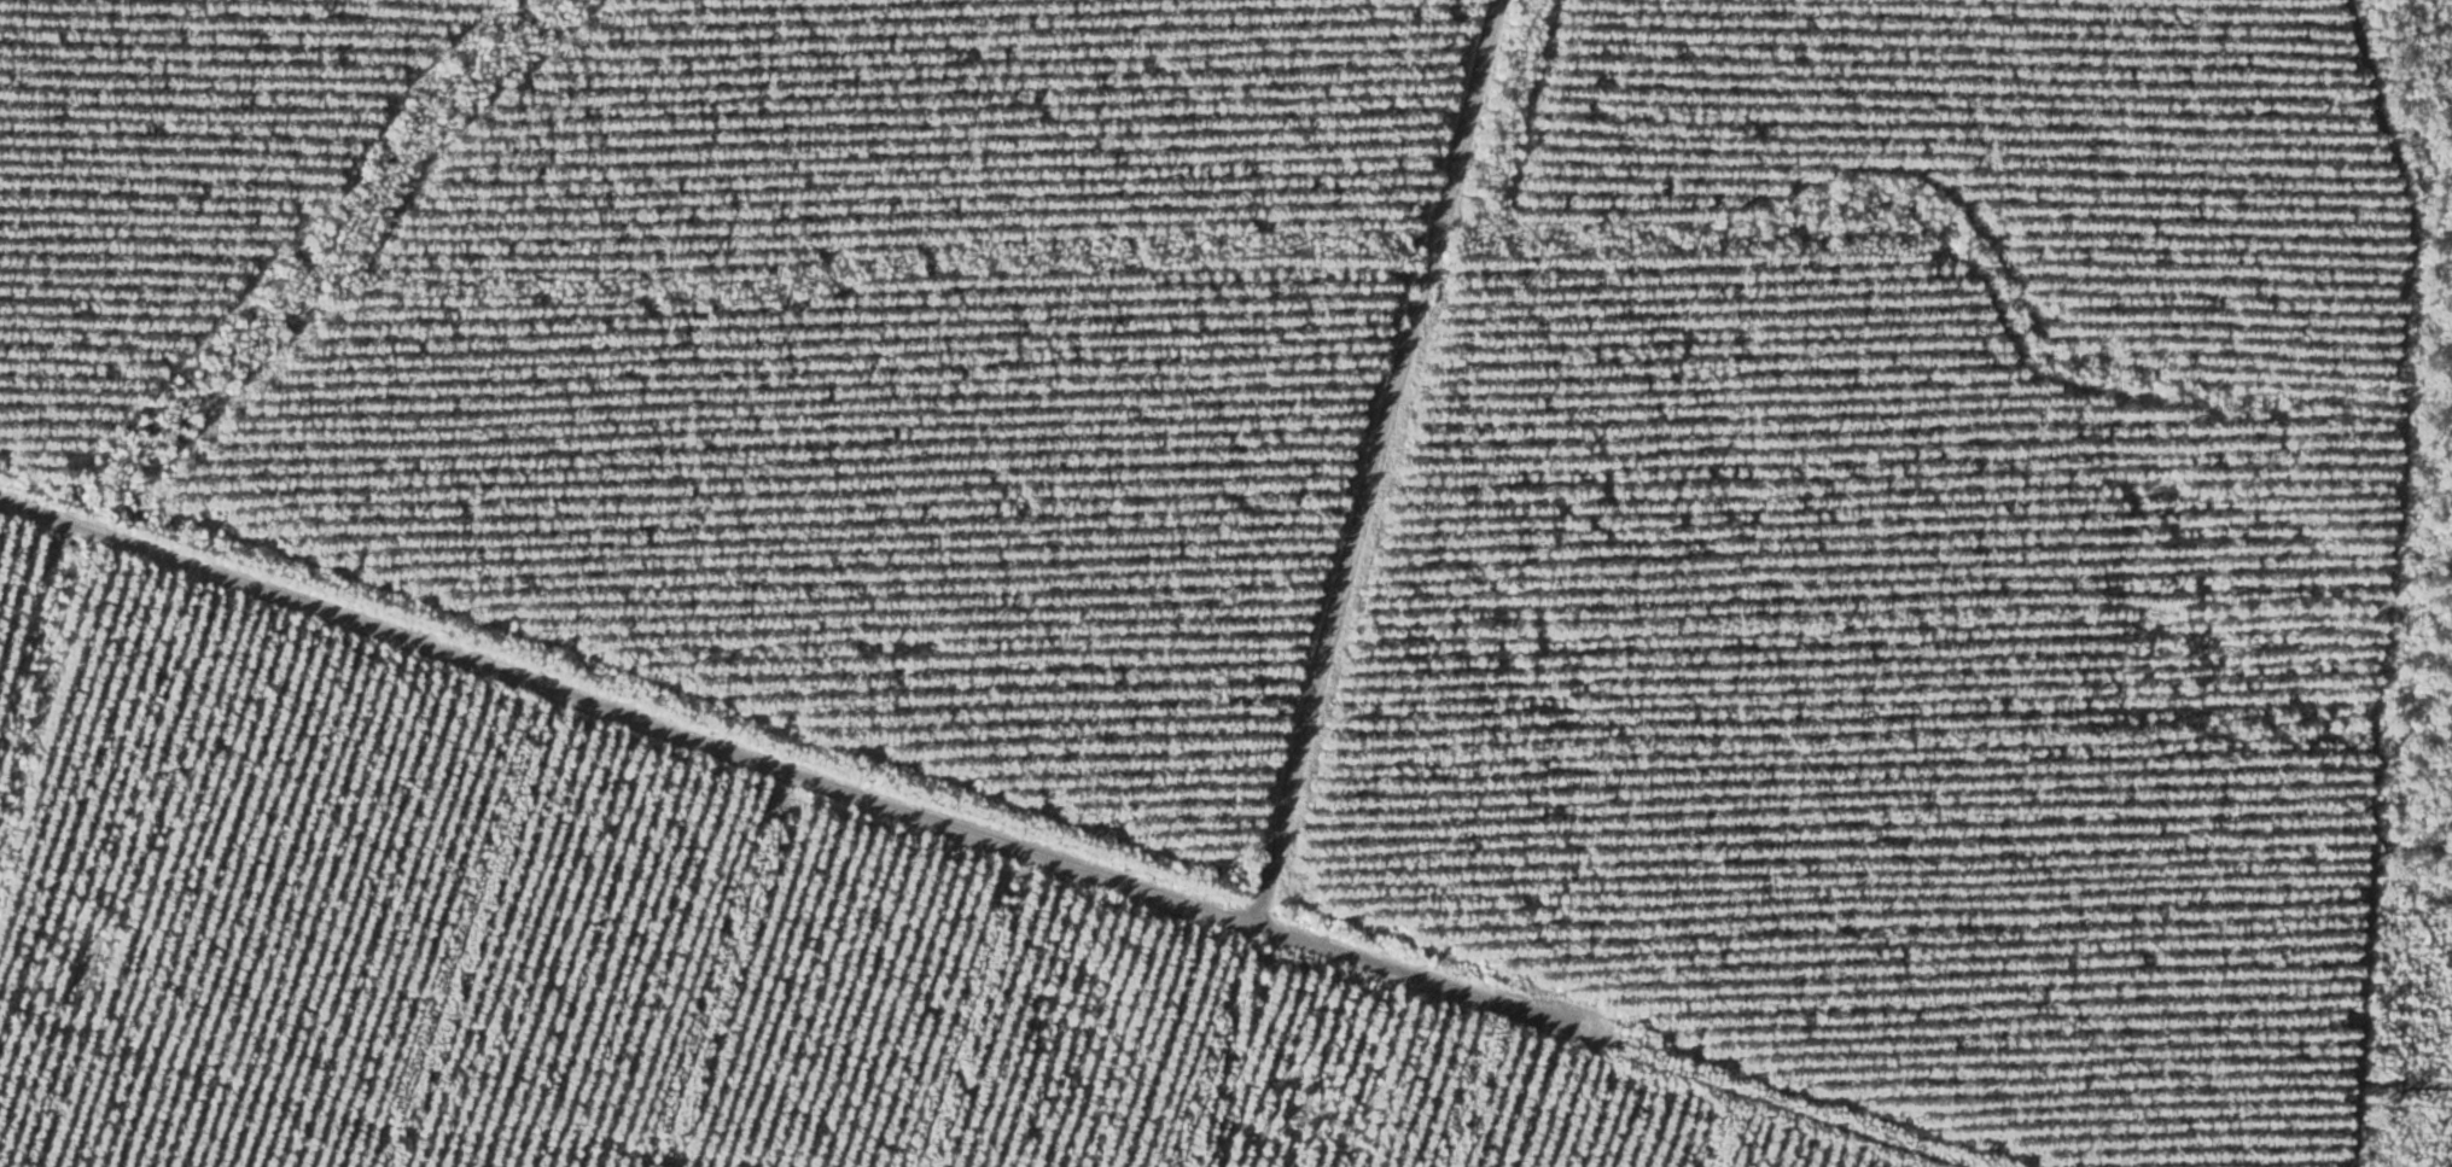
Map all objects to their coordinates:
road: (806, 772)

